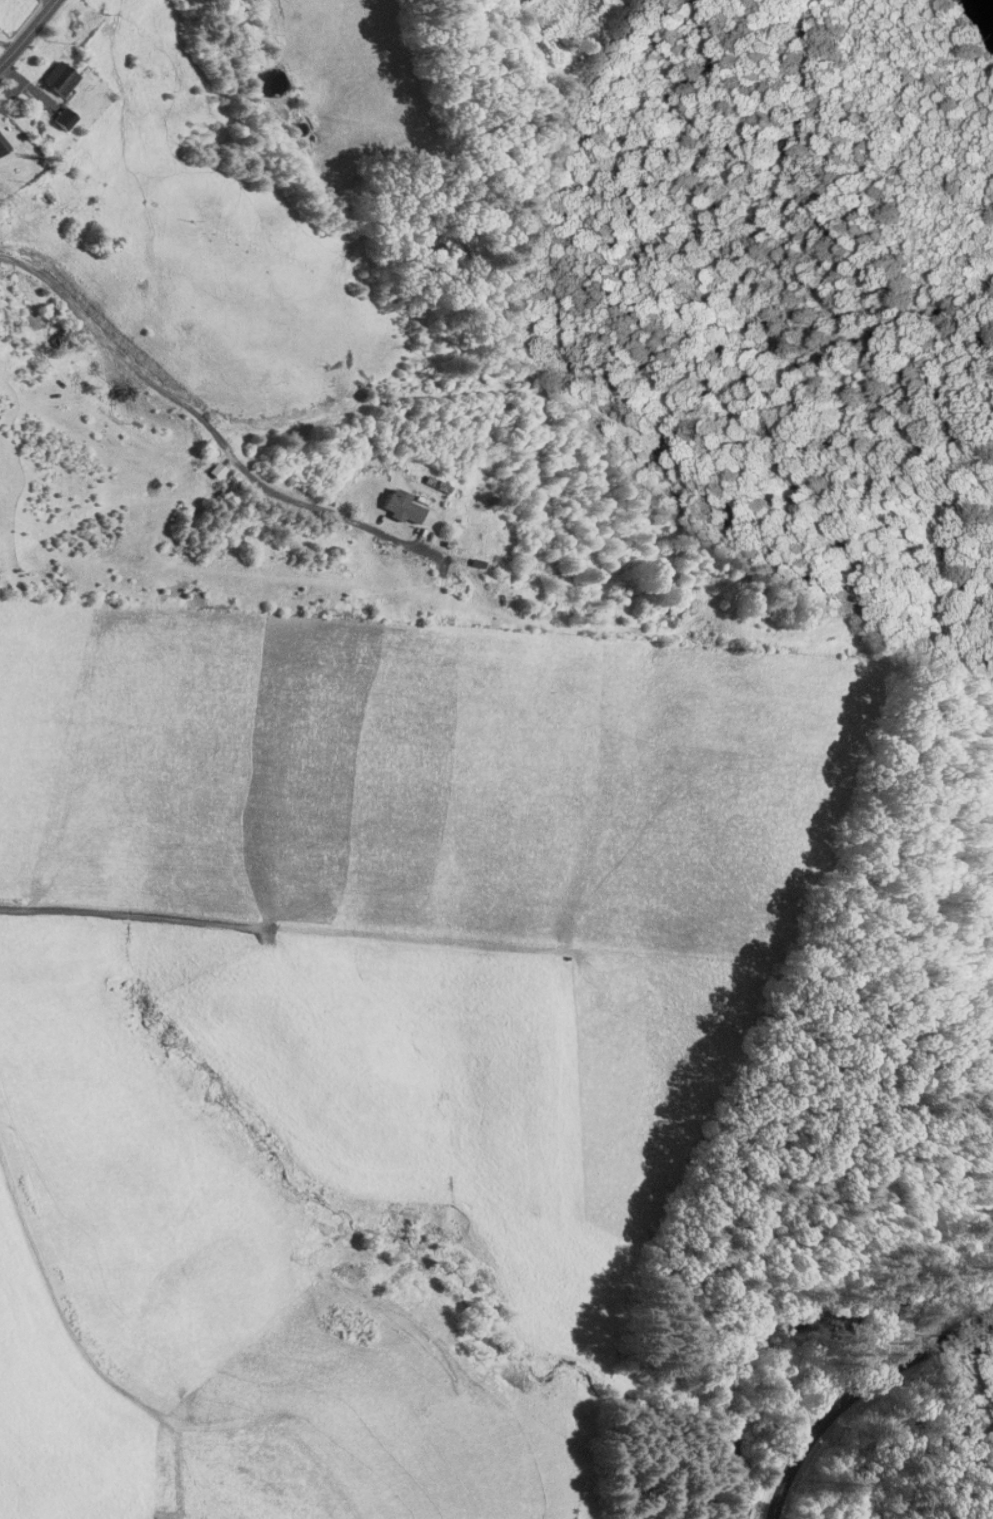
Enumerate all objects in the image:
road: (30, 34)
road: (315, 508)
road: (858, 1394)

